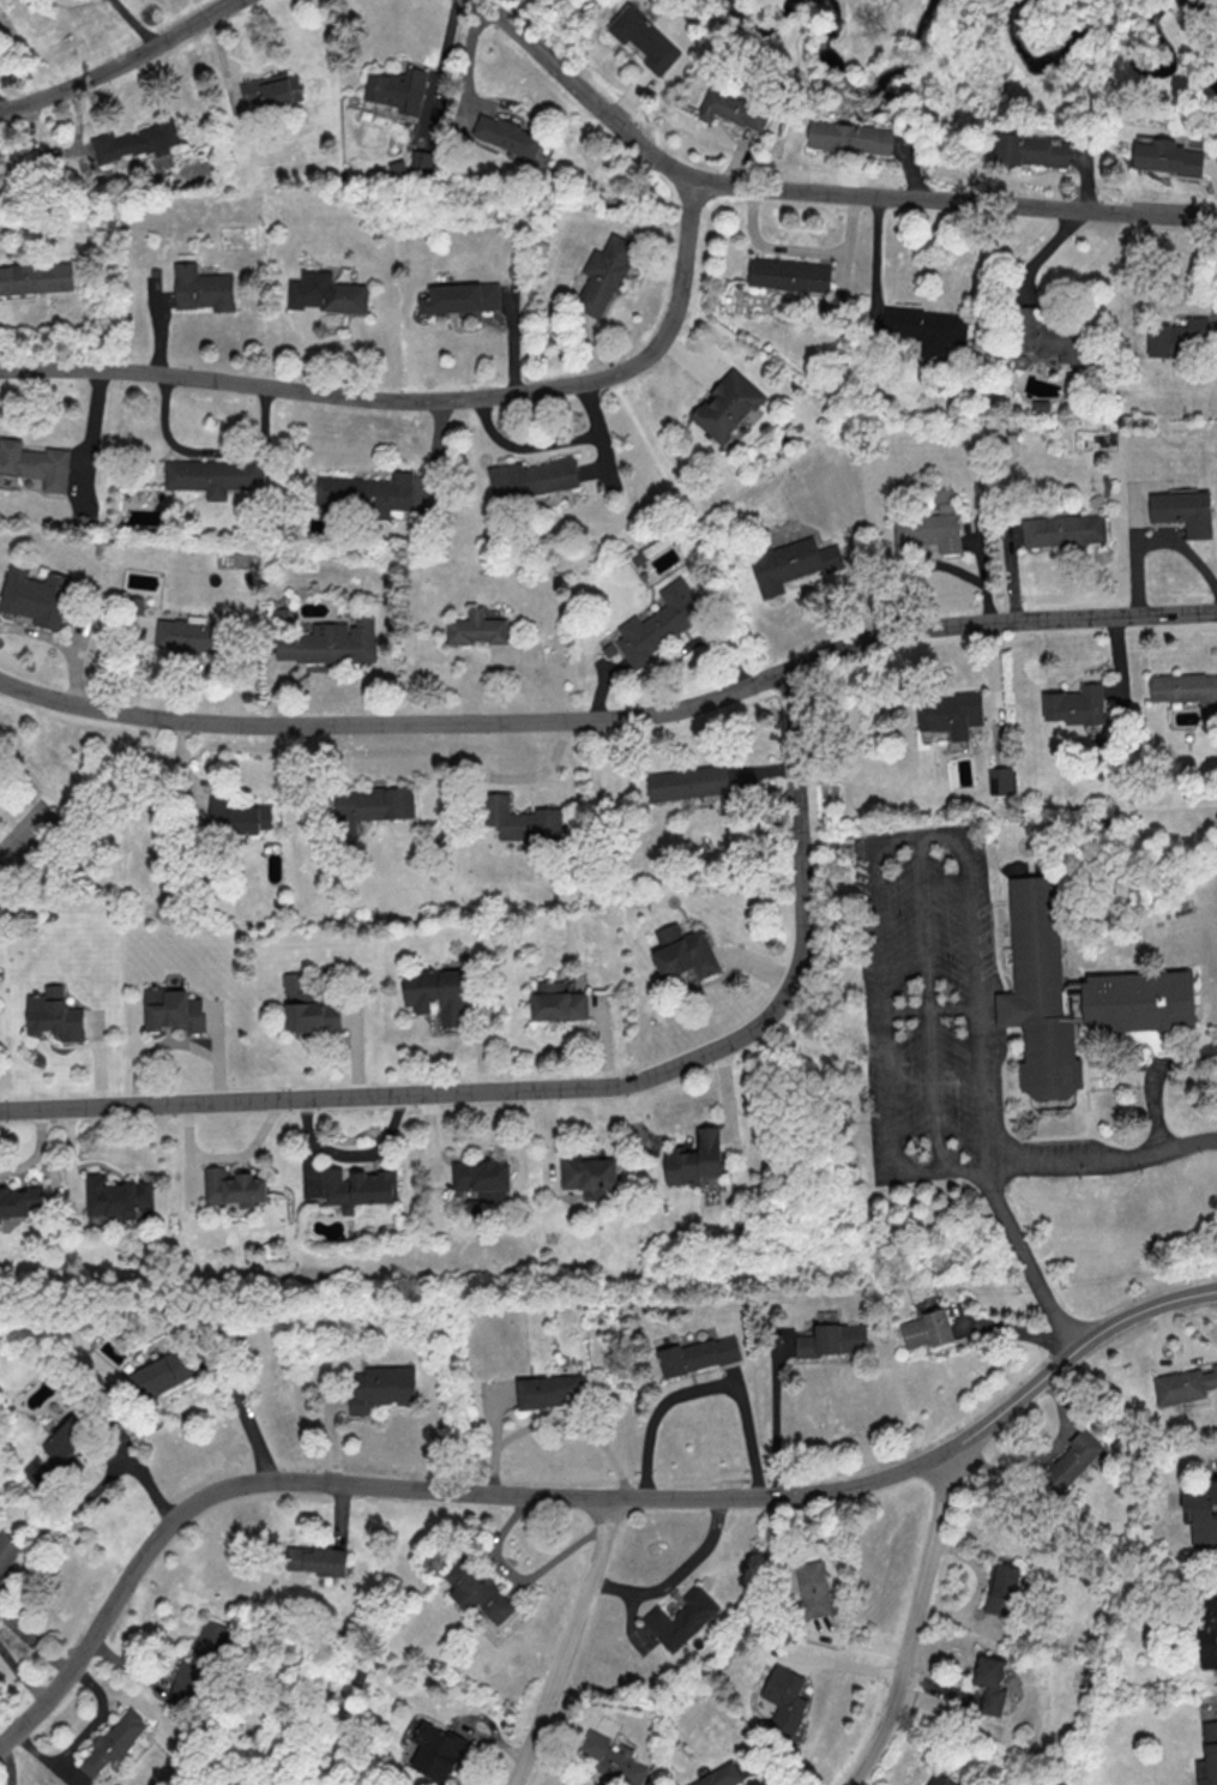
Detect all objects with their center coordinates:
building: (31, 0)
road: (132, 23)
building: (645, 40)
road: (120, 62)
building: (272, 90)
building: (399, 90)
building: (734, 110)
building: (507, 136)
building: (849, 139)
building: (134, 142)
building: (1030, 150)
building: (1165, 156)
building: (422, 161)
road: (791, 188)
road: (1194, 216)
road: (801, 250)
building: (606, 275)
building: (790, 276)
building: (36, 278)
building: (203, 289)
building: (327, 294)
building: (462, 299)
building: (926, 330)
building: (1047, 336)
building: (1180, 337)
road: (420, 401)
building: (728, 407)
building: (36, 464)
building: (213, 477)
building: (532, 479)
building: (367, 494)
building: (1183, 512)
building: (928, 531)
building: (1064, 531)
building: (791, 564)
building: (35, 597)
building: (659, 625)
building: (476, 630)
building: (189, 637)
building: (332, 643)
building: (1185, 689)
building: (1076, 704)
building: (950, 715)
road: (613, 719)
road: (183, 776)
road: (504, 779)
building: (1000, 780)
building: (687, 785)
building: (372, 809)
building: (237, 818)
building: (520, 821)
road: (879, 853)
building: (682, 951)
building: (435, 994)
building: (1079, 996)
building: (558, 1004)
building: (308, 1009)
building: (173, 1011)
building: (54, 1016)
road: (1152, 1081)
road: (571, 1088)
building: (694, 1159)
road: (1007, 1166)
building: (588, 1174)
building: (481, 1178)
building: (234, 1189)
building: (359, 1190)
building: (116, 1198)
building: (22, 1200)
building: (926, 1329)
building: (831, 1342)
building: (698, 1358)
building: (159, 1374)
building: (1185, 1384)
building: (380, 1388)
road: (701, 1389)
building: (550, 1390)
road: (242, 1411)
road: (776, 1414)
road: (559, 1420)
building: (65, 1446)
building: (1071, 1461)
road: (574, 1499)
building: (1200, 1511)
building: (7, 1552)
building: (317, 1559)
road: (674, 1577)
building: (813, 1588)
building: (477, 1589)
building: (1001, 1592)
building: (681, 1618)
road: (910, 1623)
building: (1206, 1629)
road: (565, 1643)
building: (197, 1665)
building: (990, 1683)
building: (783, 1700)
building: (112, 1743)
building: (435, 1750)
building: (1207, 1756)
building: (613, 1759)
building: (721, 1775)
building: (938, 1779)

